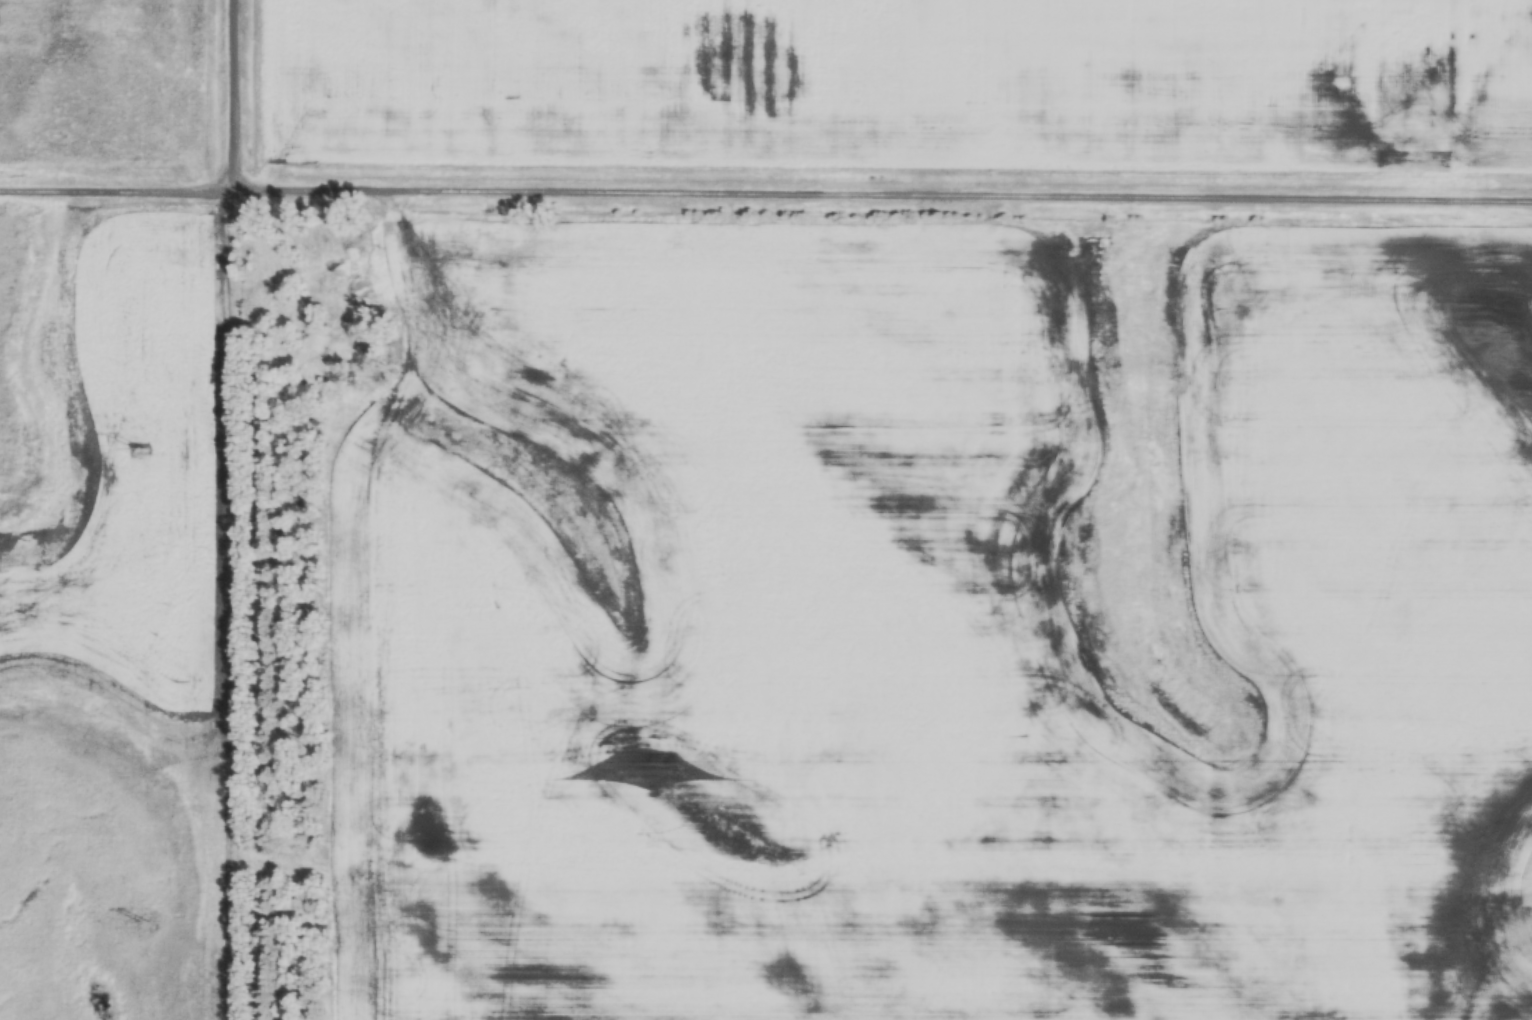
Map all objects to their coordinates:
road: (120, 193)
road: (886, 197)
power tower: (138, 449)
road: (240, 510)
power tower: (144, 922)

